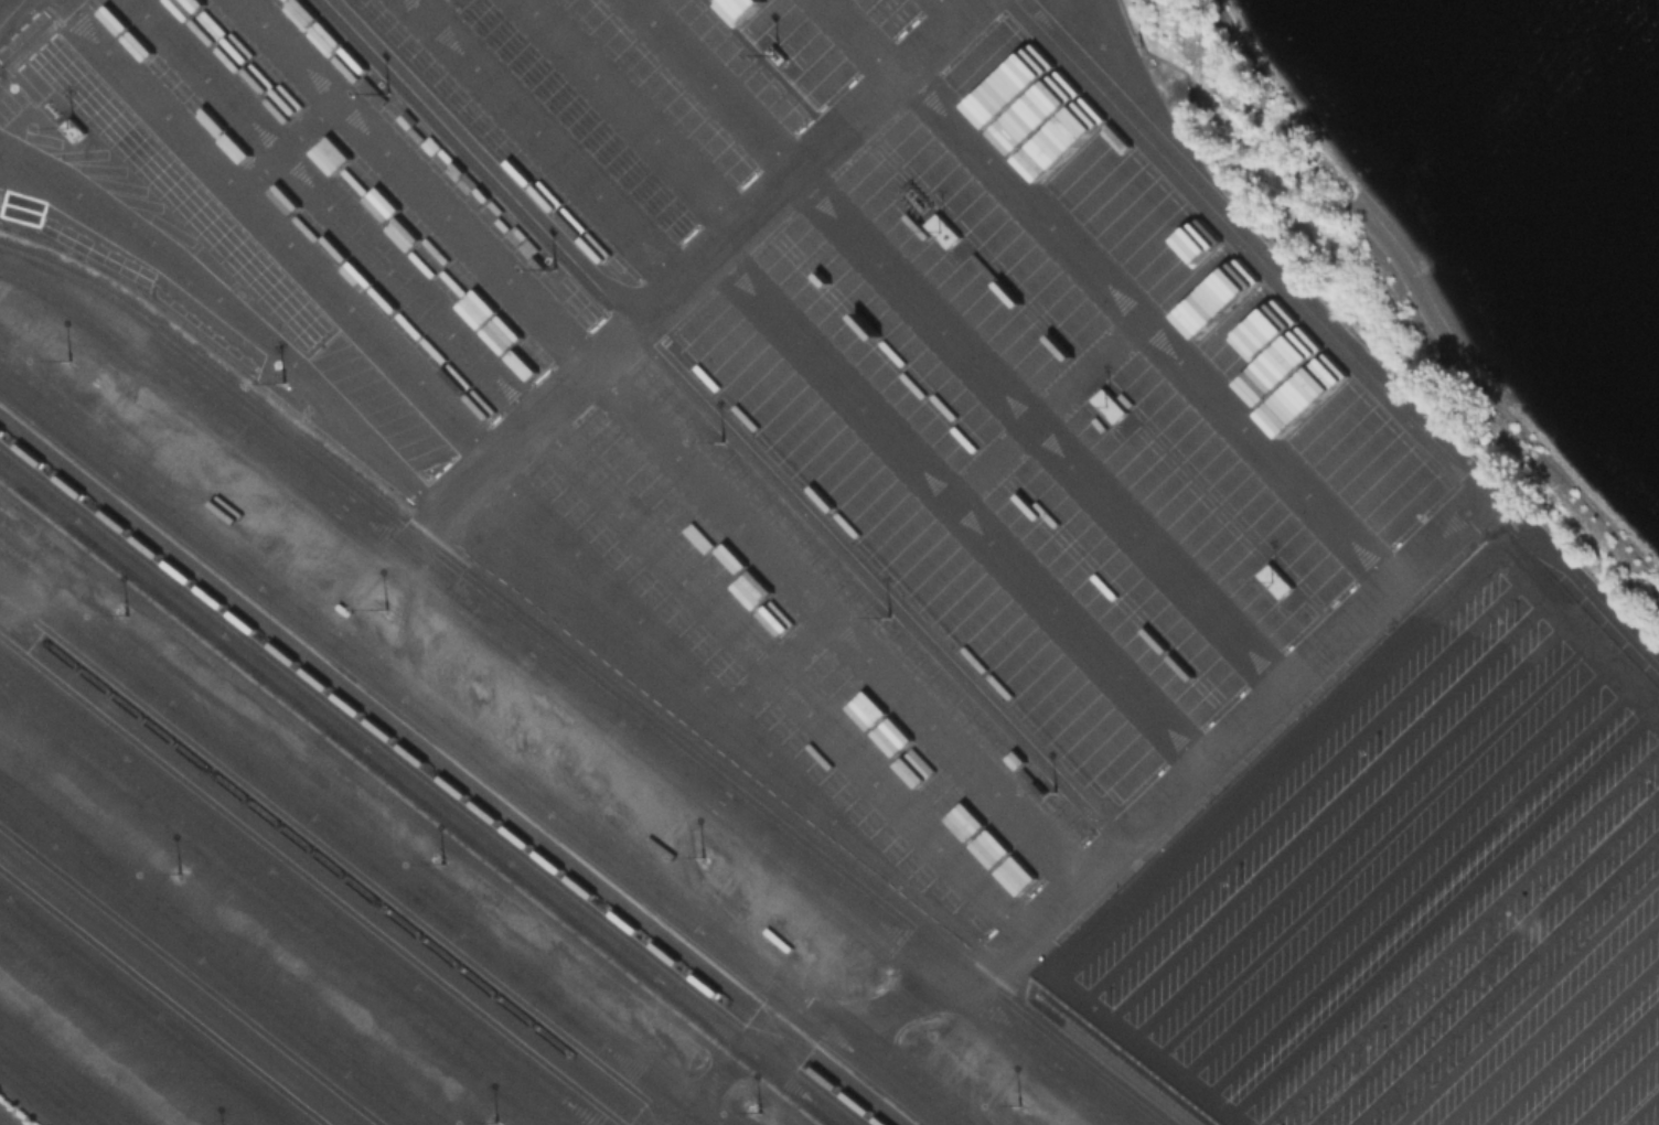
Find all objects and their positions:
building: (779, 55)
building: (73, 132)
building: (944, 231)
road: (687, 274)
building: (1111, 406)
road: (664, 441)
road: (1489, 525)
building: (587, 533)
building: (1277, 581)
road: (1608, 609)
railway: (8, 628)
railway: (599, 666)
road: (1269, 760)
railway: (449, 772)
railway: (440, 779)
road: (1304, 783)
road: (1329, 805)
road: (1351, 826)
road: (1372, 845)
railway: (330, 867)
road: (1398, 868)
railway: (321, 874)
road: (1420, 889)
road: (1443, 909)
road: (1043, 918)
road: (1457, 933)
road: (1483, 956)
road: (1505, 977)
railway: (180, 983)
railway: (170, 990)
road: (1527, 998)
road: (1549, 1020)
road: (1571, 1040)
railway: (1115, 1060)
road: (1593, 1062)
road: (1616, 1084)
railway: (23, 1106)
road: (1639, 1106)
railway: (4, 1121)

